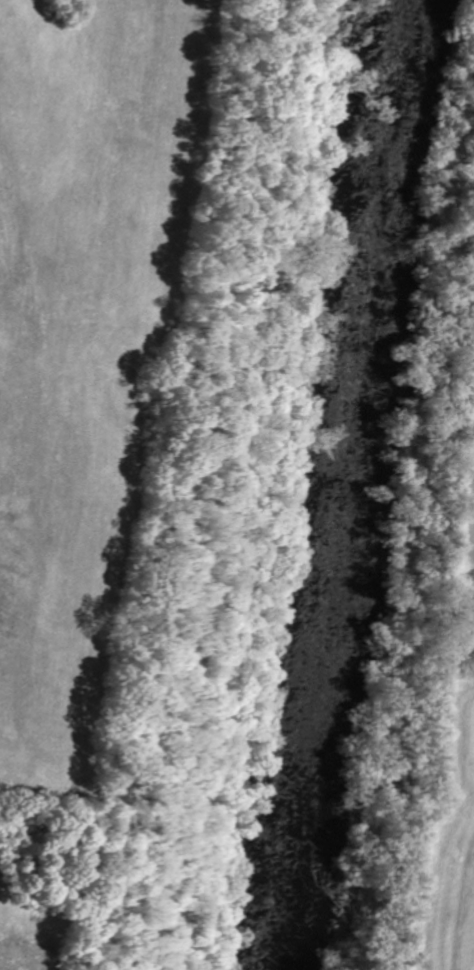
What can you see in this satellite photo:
river: (332, 485)

